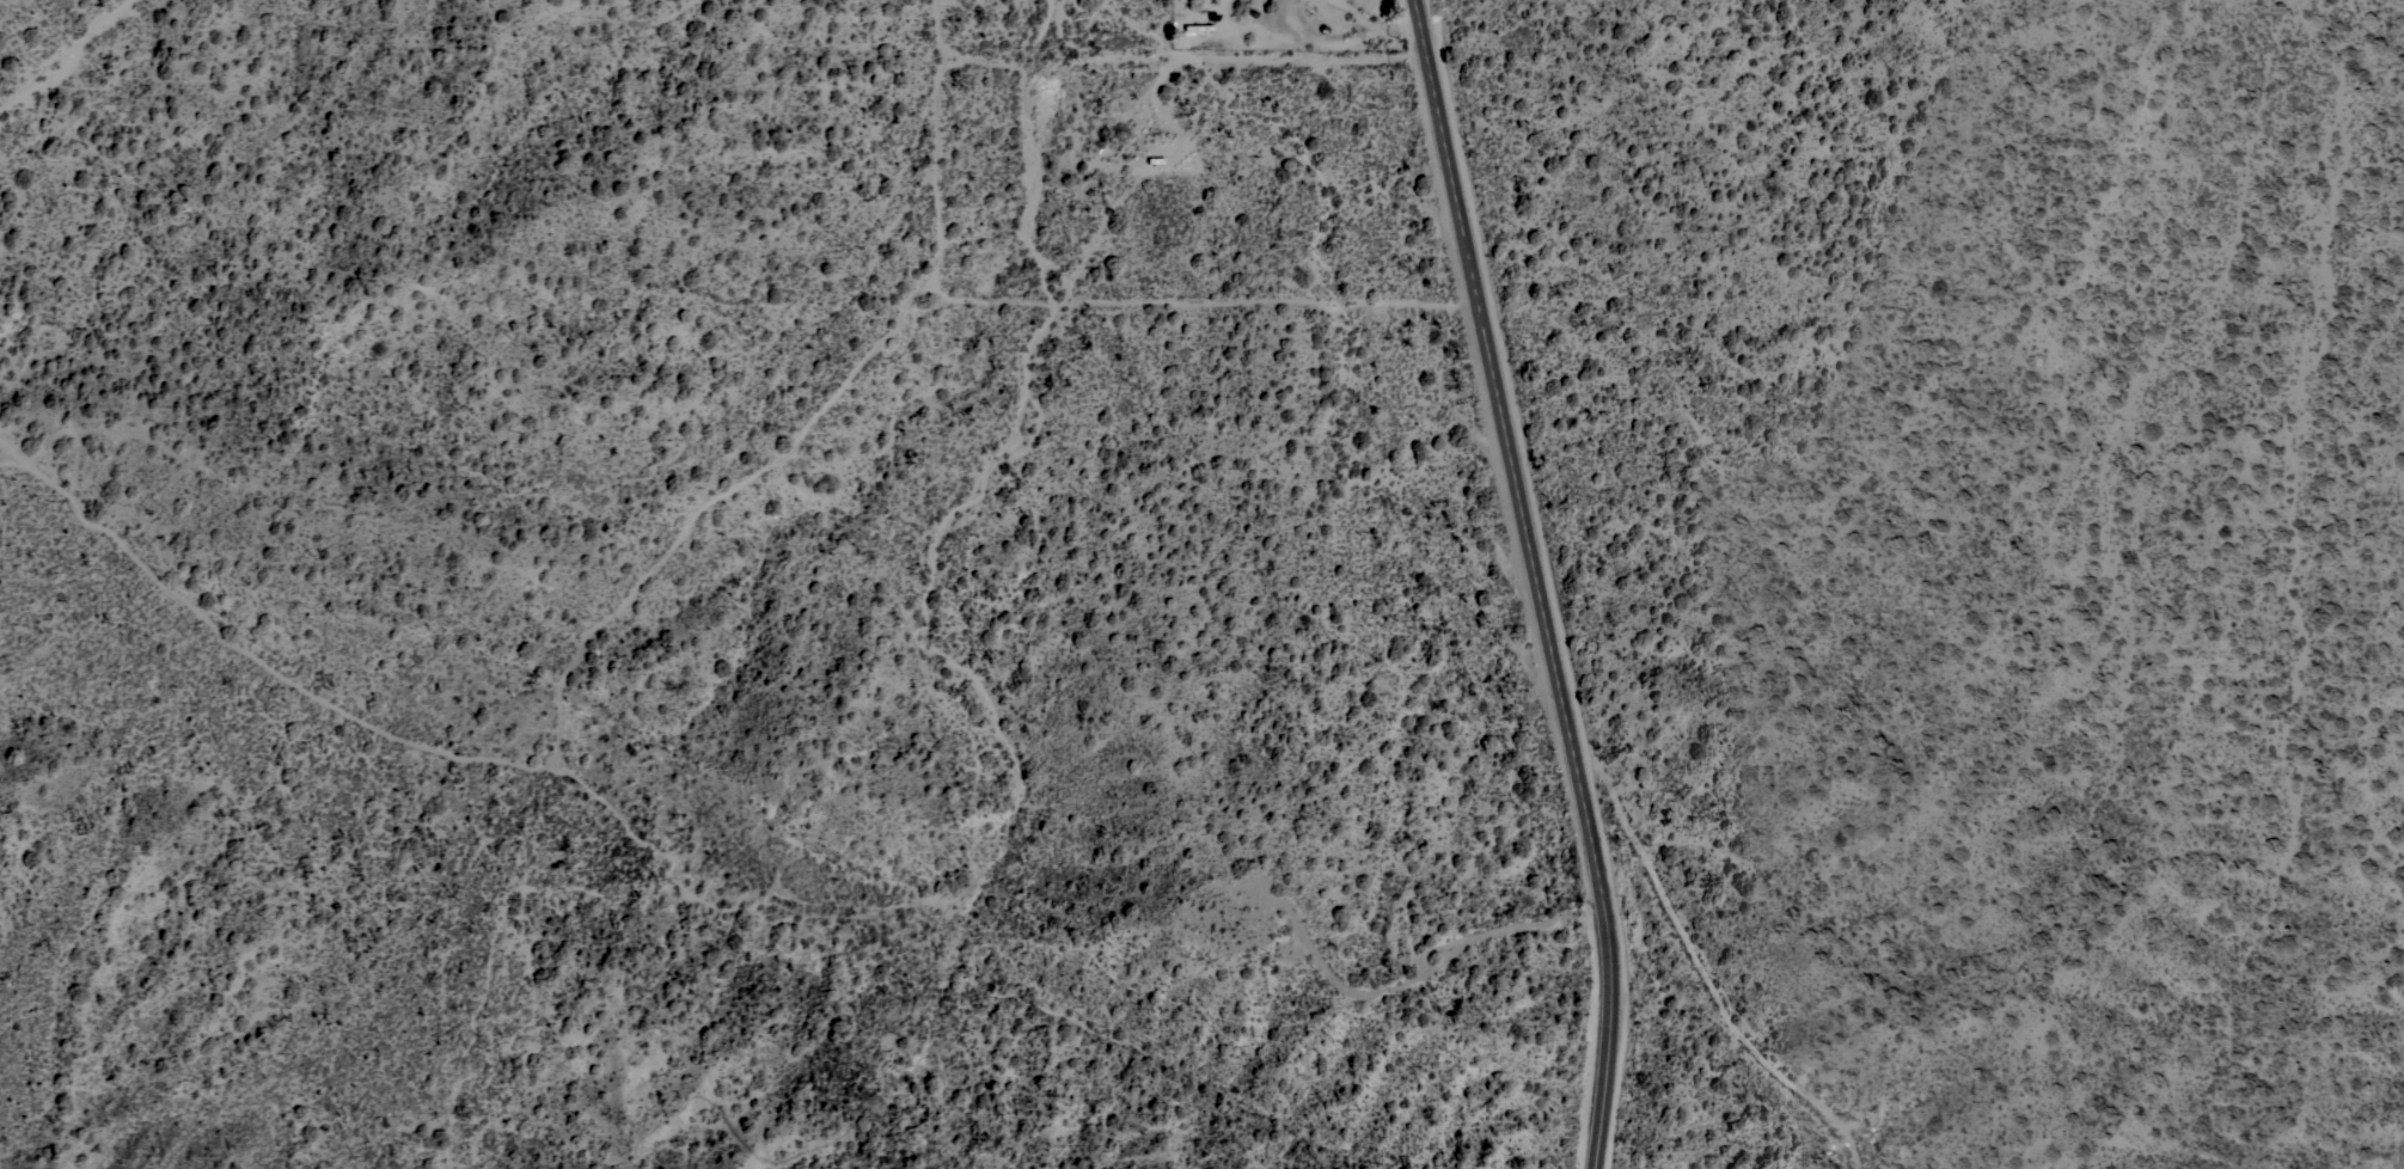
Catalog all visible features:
building: (1197, 26)
road: (1548, 581)
road: (104, 925)

